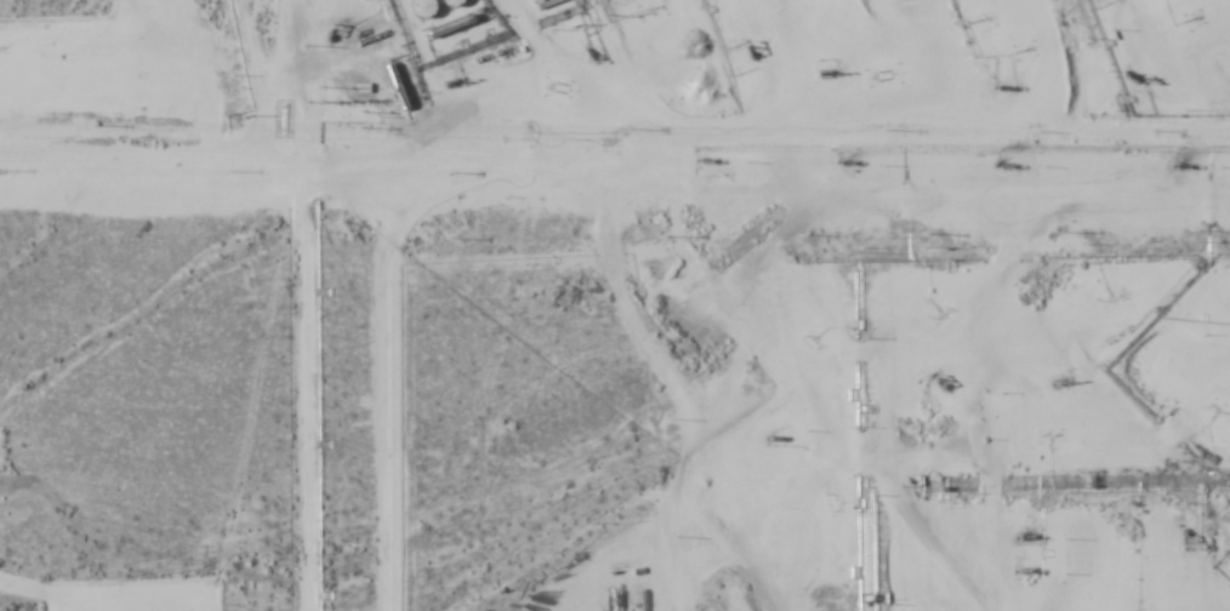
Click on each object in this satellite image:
road: (306, 301)
road: (745, 301)

